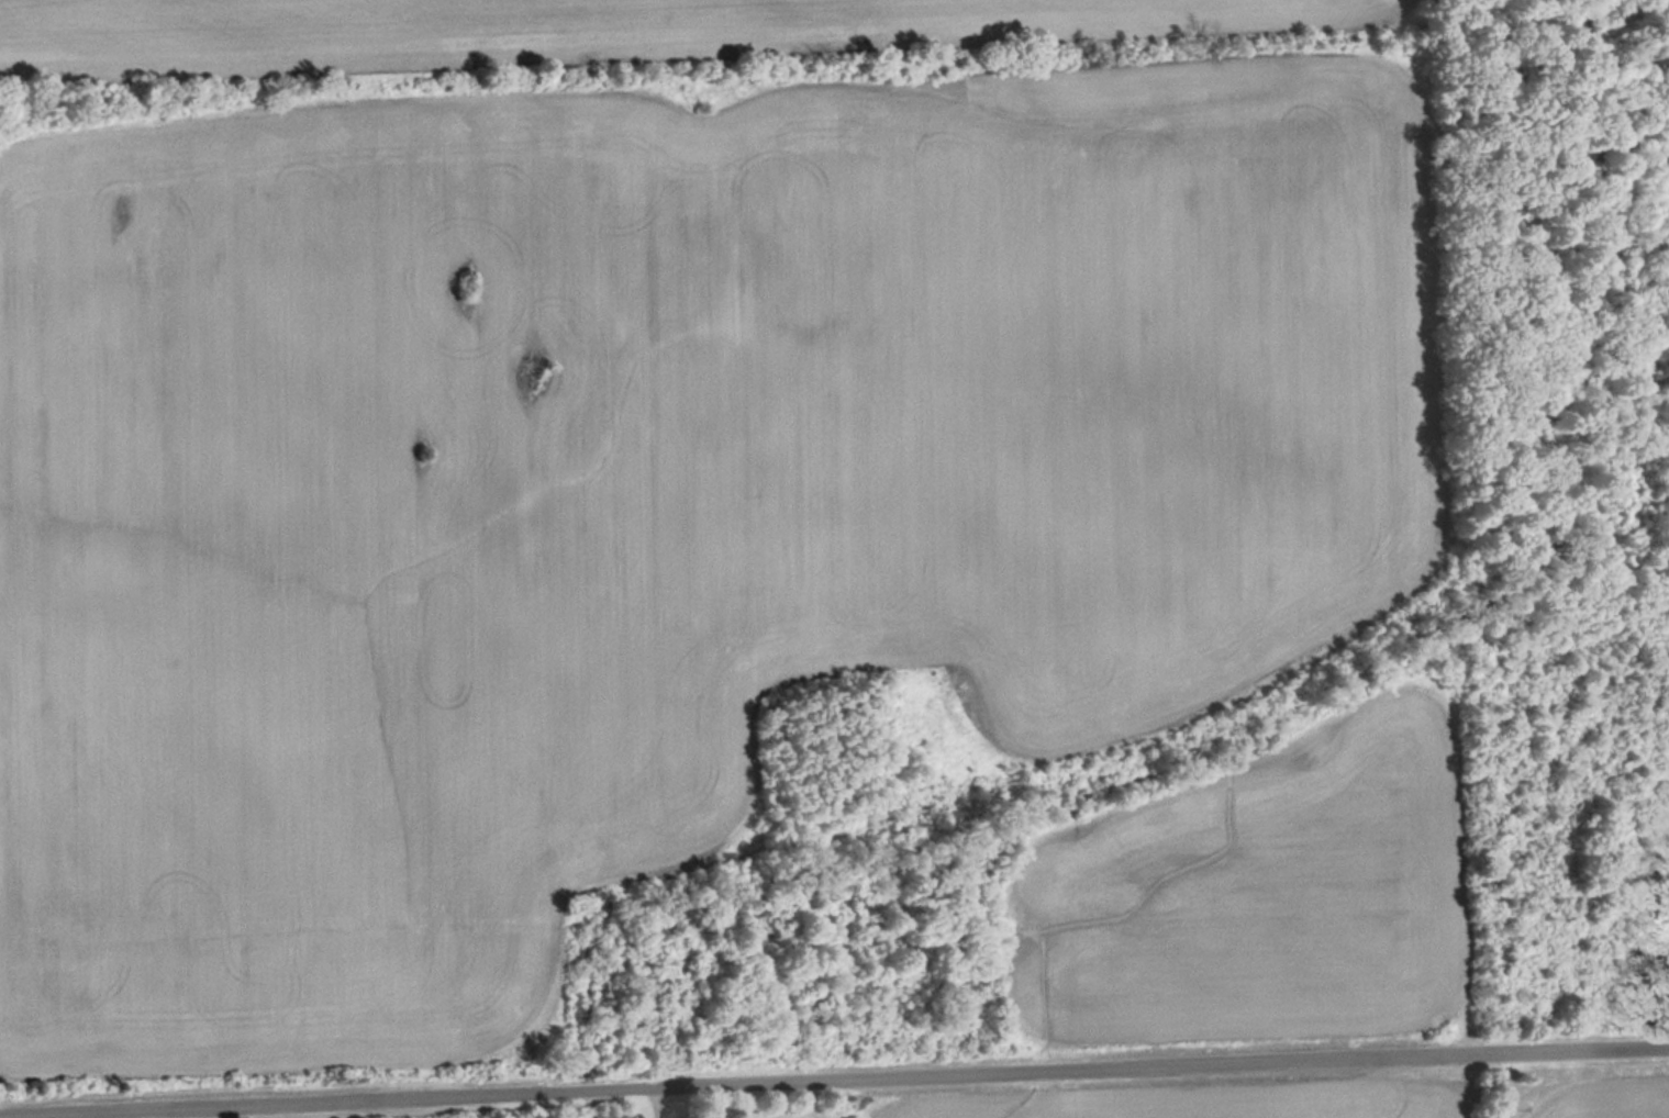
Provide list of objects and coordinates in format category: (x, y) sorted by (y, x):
road: (834, 1080)

